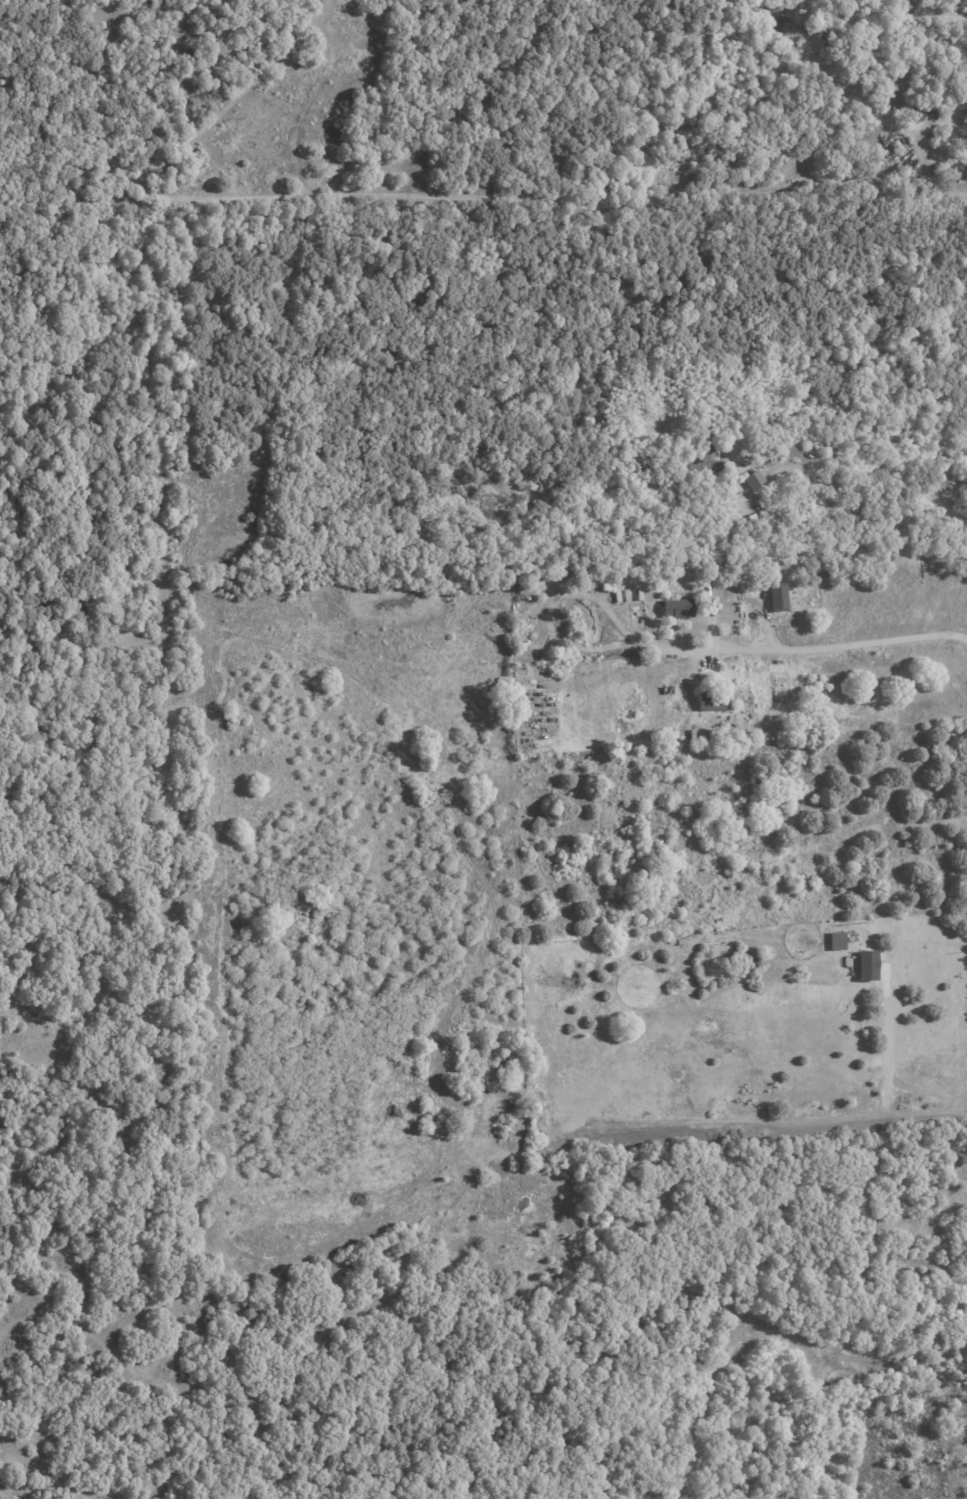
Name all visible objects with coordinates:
building: (702, 161)
building: (711, 461)
building: (759, 481)
road: (886, 481)
building: (753, 523)
building: (590, 574)
building: (708, 589)
building: (776, 596)
building: (682, 610)
road: (843, 643)
road: (650, 644)
building: (716, 702)
building: (839, 939)
building: (870, 964)
road: (886, 1062)
building: (504, 1065)
building: (492, 1086)
road: (924, 1091)
road: (782, 1123)

